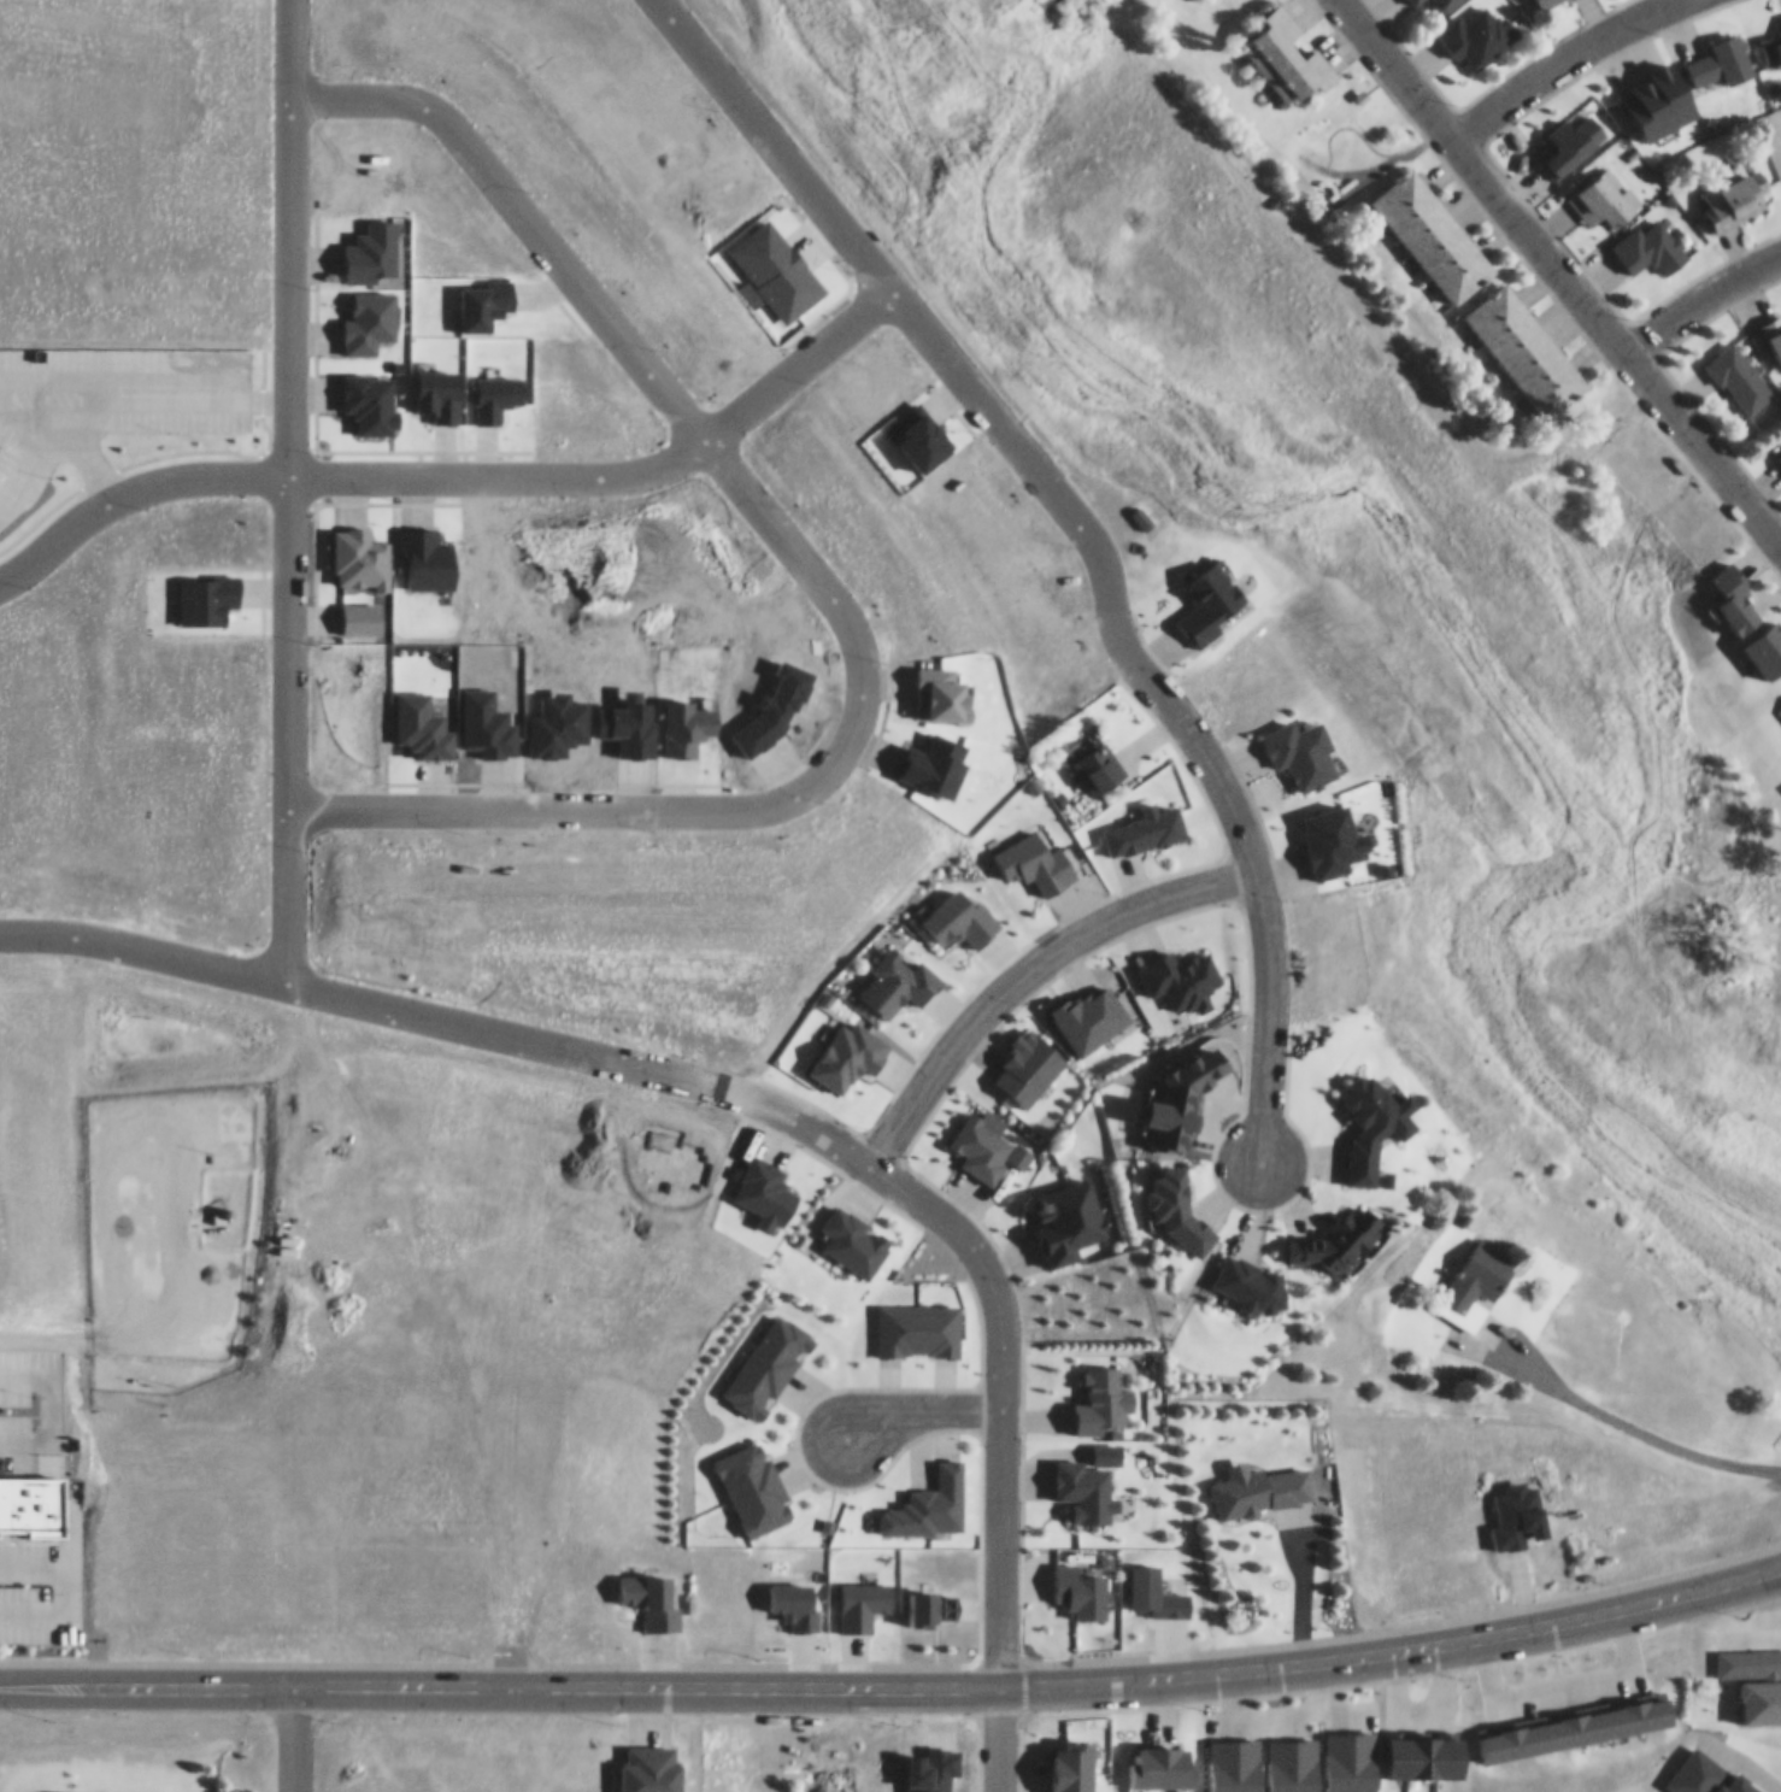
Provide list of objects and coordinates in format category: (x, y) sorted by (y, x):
building: (1441, 0)
building: (1542, 0)
building: (1477, 24)
building: (1773, 42)
building: (1287, 48)
building: (1722, 51)
road: (1547, 58)
building: (1662, 90)
building: (1569, 133)
building: (1604, 188)
building: (1735, 188)
road: (521, 208)
building: (1433, 224)
building: (1650, 237)
road: (1564, 268)
road: (1699, 288)
road: (287, 331)
building: (1775, 333)
building: (1527, 340)
building: (1739, 366)
building: (1779, 445)
road: (340, 475)
building: (1301, 742)
building: (1144, 818)
road: (1259, 887)
road: (1022, 957)
building: (898, 971)
building: (217, 1206)
building: (851, 1234)
road: (991, 1273)
building: (1248, 1273)
building: (1474, 1273)
building: (917, 1320)
road: (142, 1329)
building: (768, 1355)
road: (917, 1400)
road: (1630, 1417)
building: (752, 1477)
building: (1258, 1479)
building: (25, 1486)
building: (929, 1493)
road: (506, 1658)
building: (1753, 1669)
road: (895, 1681)
road: (292, 1734)
road: (995, 1737)
building: (101, 1788)
parking lot: (202, 1788)

